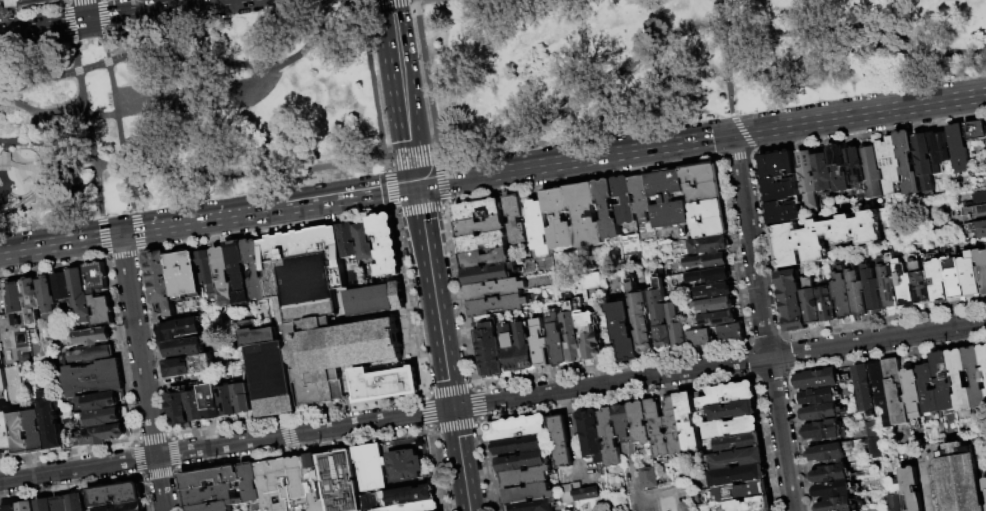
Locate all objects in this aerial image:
road: (67, 0)
road: (104, 0)
road: (389, 1)
road: (400, 1)
building: (4, 2)
building: (41, 2)
road: (67, 2)
building: (19, 4)
road: (379, 4)
road: (84, 10)
road: (33, 11)
road: (107, 16)
road: (105, 19)
traffic signals: (86, 20)
road: (70, 24)
road: (696, 27)
road: (108, 50)
road: (725, 56)
road: (248, 64)
road: (55, 77)
road: (427, 78)
road: (374, 82)
road: (272, 88)
park: (426, 88)
road: (404, 94)
road: (164, 108)
road: (37, 119)
road: (89, 129)
building: (975, 131)
road: (742, 132)
road: (870, 133)
traffic signals: (735, 135)
road: (120, 136)
road: (701, 140)
building: (957, 148)
building: (937, 149)
road: (438, 156)
road: (736, 158)
building: (923, 160)
road: (412, 161)
road: (721, 161)
building: (906, 162)
building: (887, 163)
road: (389, 164)
building: (854, 165)
road: (387, 168)
building: (838, 168)
building: (870, 171)
road: (242, 173)
building: (821, 173)
road: (443, 181)
building: (702, 182)
building: (807, 182)
traffic signals: (417, 186)
building: (777, 188)
road: (389, 190)
road: (46, 192)
building: (640, 196)
building: (979, 196)
building: (666, 199)
building: (622, 200)
road: (446, 205)
road: (277, 208)
building: (606, 209)
road: (419, 210)
building: (477, 210)
road: (395, 213)
building: (583, 215)
building: (515, 218)
building: (557, 218)
building: (708, 219)
road: (135, 220)
building: (479, 226)
building: (538, 227)
building: (979, 228)
road: (267, 231)
road: (129, 232)
traffic signals: (121, 234)
building: (819, 234)
road: (103, 235)
road: (139, 240)
building: (364, 241)
building: (482, 242)
road: (60, 244)
building: (386, 244)
building: (629, 244)
road: (765, 244)
road: (122, 245)
building: (708, 245)
road: (139, 253)
road: (734, 254)
road: (123, 256)
building: (484, 258)
building: (706, 261)
road: (54, 265)
building: (254, 269)
building: (981, 269)
building: (205, 270)
building: (237, 270)
building: (310, 272)
building: (487, 274)
building: (183, 275)
building: (970, 275)
building: (222, 276)
building: (709, 276)
building: (97, 277)
building: (954, 279)
building: (160, 280)
building: (937, 281)
building: (889, 282)
building: (919, 282)
building: (904, 285)
building: (62, 286)
building: (495, 289)
building: (714, 290)
building: (873, 290)
building: (857, 293)
building: (79, 294)
road: (434, 297)
building: (843, 297)
building: (16, 298)
building: (48, 298)
road: (460, 298)
building: (376, 299)
building: (790, 300)
building: (32, 301)
road: (408, 303)
building: (827, 303)
building: (715, 304)
building: (497, 305)
building: (811, 305)
building: (101, 309)
building: (660, 317)
building: (639, 318)
building: (718, 319)
road: (882, 320)
road: (764, 323)
building: (676, 327)
building: (178, 329)
building: (622, 330)
building: (588, 331)
building: (731, 333)
building: (572, 334)
building: (95, 336)
building: (699, 338)
road: (763, 338)
road: (155, 344)
building: (557, 345)
building: (185, 346)
building: (540, 346)
building: (516, 348)
road: (120, 349)
building: (489, 350)
road: (784, 352)
building: (335, 353)
building: (92, 354)
road: (884, 356)
road: (747, 360)
building: (983, 362)
building: (187, 365)
road: (719, 365)
building: (267, 371)
road: (769, 375)
building: (974, 377)
building: (95, 378)
building: (816, 379)
building: (958, 379)
building: (942, 380)
building: (1, 381)
road: (144, 383)
building: (382, 383)
road: (449, 388)
building: (863, 388)
building: (926, 388)
building: (879, 389)
building: (911, 389)
building: (895, 391)
building: (729, 392)
road: (639, 394)
building: (818, 395)
building: (242, 398)
building: (227, 400)
building: (103, 401)
building: (211, 401)
road: (477, 404)
building: (196, 407)
building: (178, 408)
traffic signals: (453, 409)
building: (732, 409)
building: (821, 411)
road: (425, 412)
road: (297, 413)
building: (101, 417)
road: (281, 417)
road: (480, 419)
building: (623, 419)
building: (688, 419)
building: (640, 421)
building: (52, 423)
road: (477, 423)
building: (673, 425)
building: (732, 425)
building: (516, 426)
road: (454, 427)
building: (656, 428)
building: (821, 429)
building: (37, 432)
building: (7, 433)
road: (286, 433)
building: (592, 433)
building: (22, 435)
building: (102, 435)
road: (151, 436)
building: (610, 436)
road: (798, 439)
road: (363, 440)
building: (560, 440)
building: (738, 441)
building: (517, 444)
road: (226, 445)
road: (69, 451)
building: (828, 451)
road: (173, 452)
road: (135, 458)
building: (735, 458)
road: (235, 459)
road: (461, 459)
building: (521, 460)
building: (405, 465)
building: (370, 466)
road: (435, 468)
road: (175, 471)
building: (829, 473)
building: (738, 474)
road: (158, 475)
building: (524, 475)
building: (210, 478)
building: (648, 478)
building: (958, 478)
building: (341, 481)
building: (251, 482)
building: (317, 482)
road: (926, 482)
building: (984, 483)
building: (300, 484)
building: (276, 485)
road: (71, 487)
building: (910, 488)
building: (831, 489)
road: (142, 490)
building: (741, 490)
road: (178, 492)
building: (526, 492)
building: (577, 492)
building: (117, 494)
building: (208, 495)
building: (404, 495)
building: (894, 495)
building: (77, 502)
building: (751, 503)
building: (62, 504)
building: (835, 504)
building: (46, 505)
building: (531, 505)
building: (26, 506)
building: (214, 506)
building: (125, 507)
building: (409, 507)
building: (10, 508)
building: (437, 510)
building: (770, 510)

